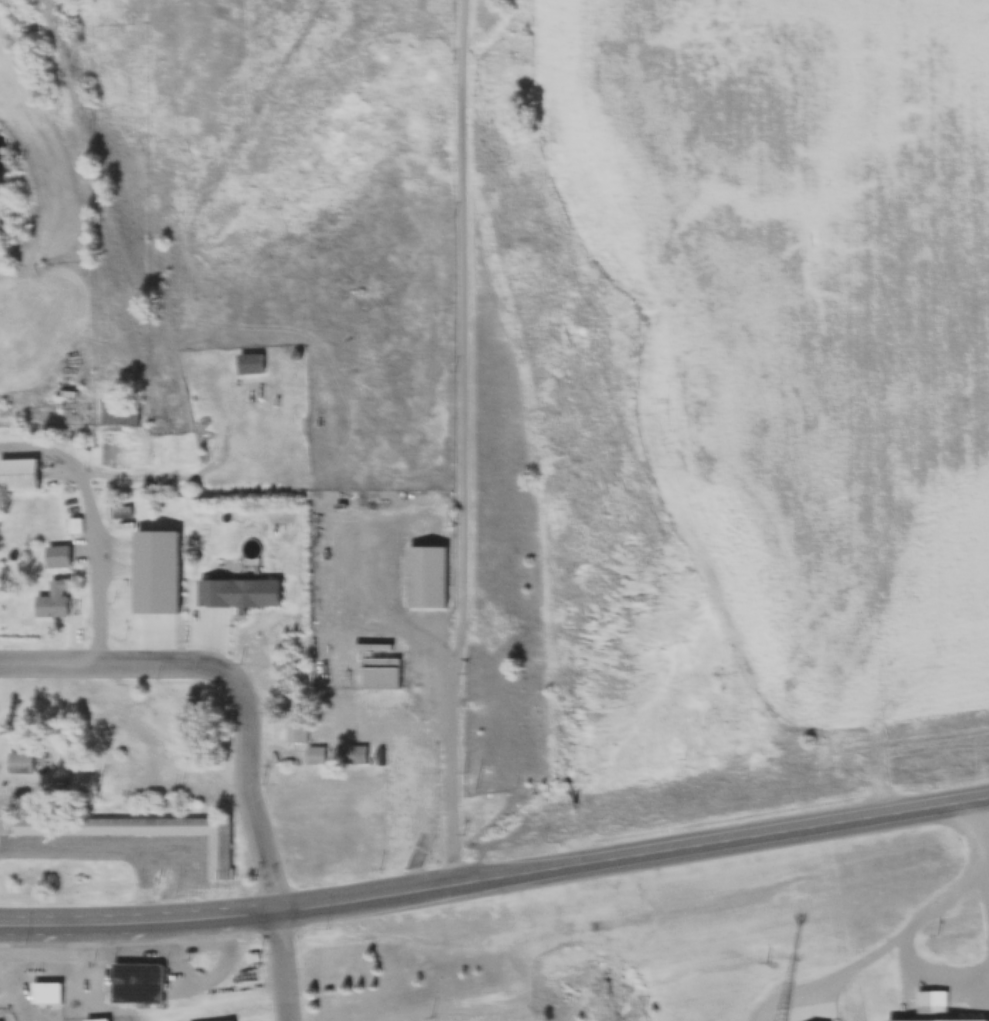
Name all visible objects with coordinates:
building: (250, 364)
building: (119, 415)
road: (459, 441)
building: (18, 476)
road: (92, 524)
building: (57, 558)
building: (426, 579)
building: (238, 593)
building: (131, 596)
building: (53, 601)
building: (133, 612)
building: (380, 674)
road: (232, 678)
building: (296, 727)
building: (318, 755)
building: (356, 755)
building: (407, 758)
building: (19, 763)
building: (402, 797)
building: (142, 834)
road: (735, 836)
building: (397, 839)
road: (365, 894)
road: (218, 915)
road: (93, 923)
road: (283, 965)
building: (137, 984)
building: (47, 994)
building: (931, 1013)

